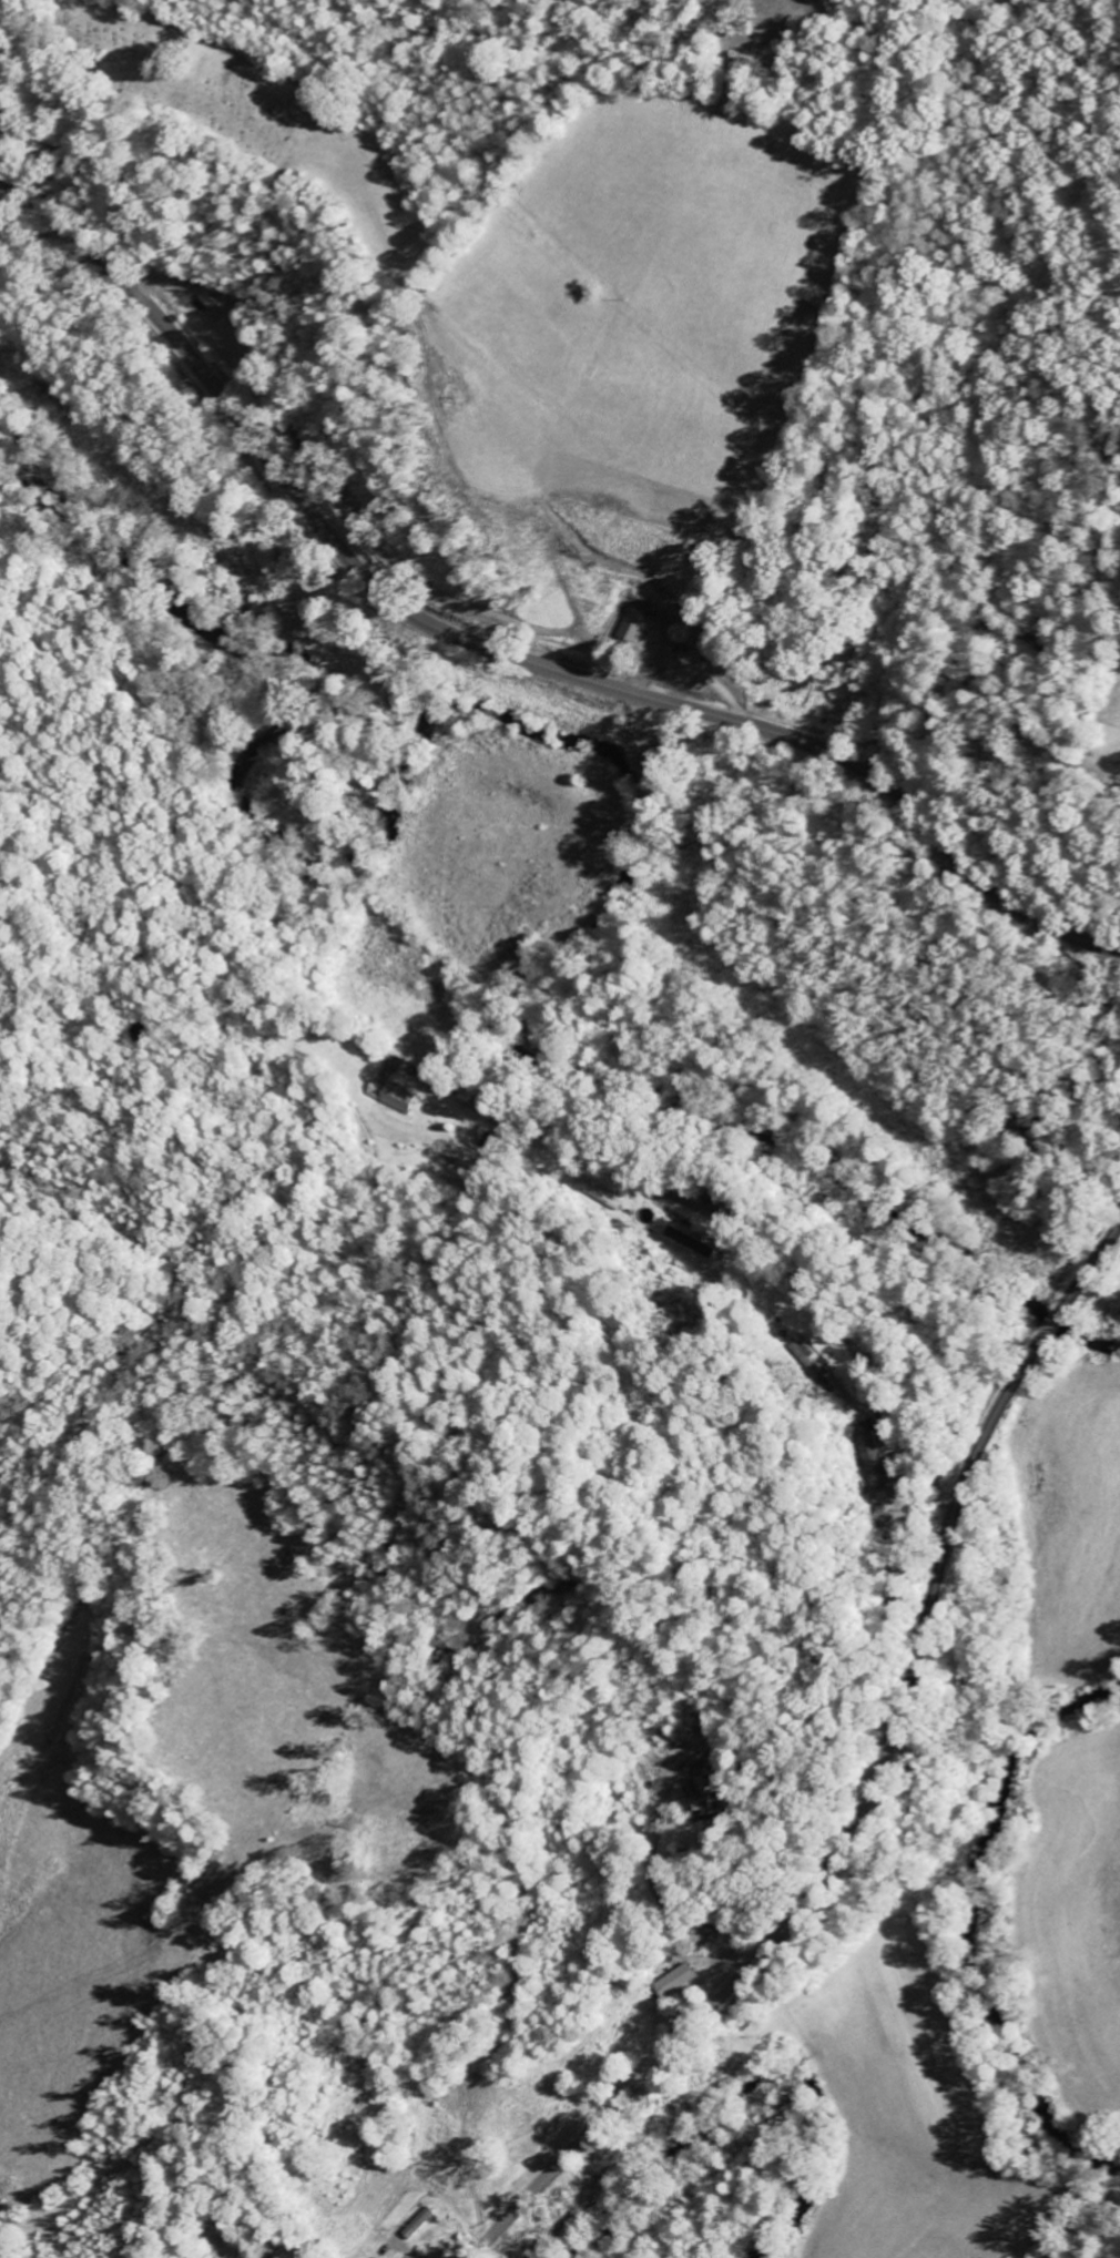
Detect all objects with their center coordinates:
road: (218, 45)
park: (186, 90)
road: (80, 169)
building: (218, 305)
building: (638, 627)
road: (493, 649)
building: (404, 1098)
road: (726, 1228)
building: (691, 1242)
building: (880, 1469)
building: (712, 1787)
road: (869, 1787)
building: (426, 2221)

